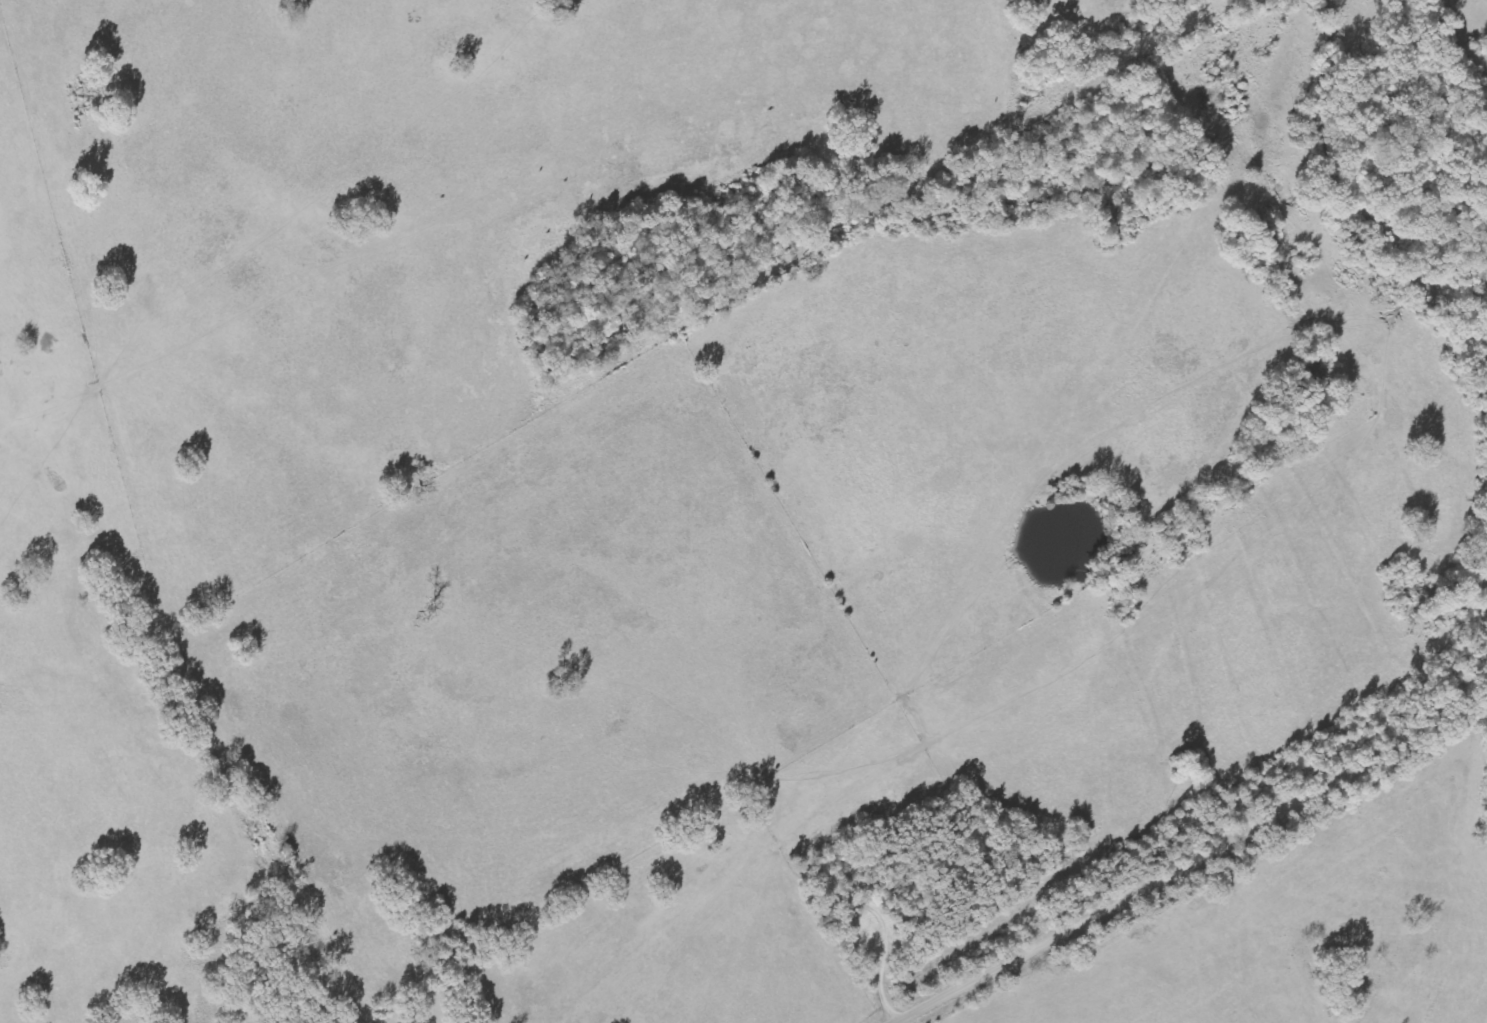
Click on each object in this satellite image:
road: (1200, 856)

